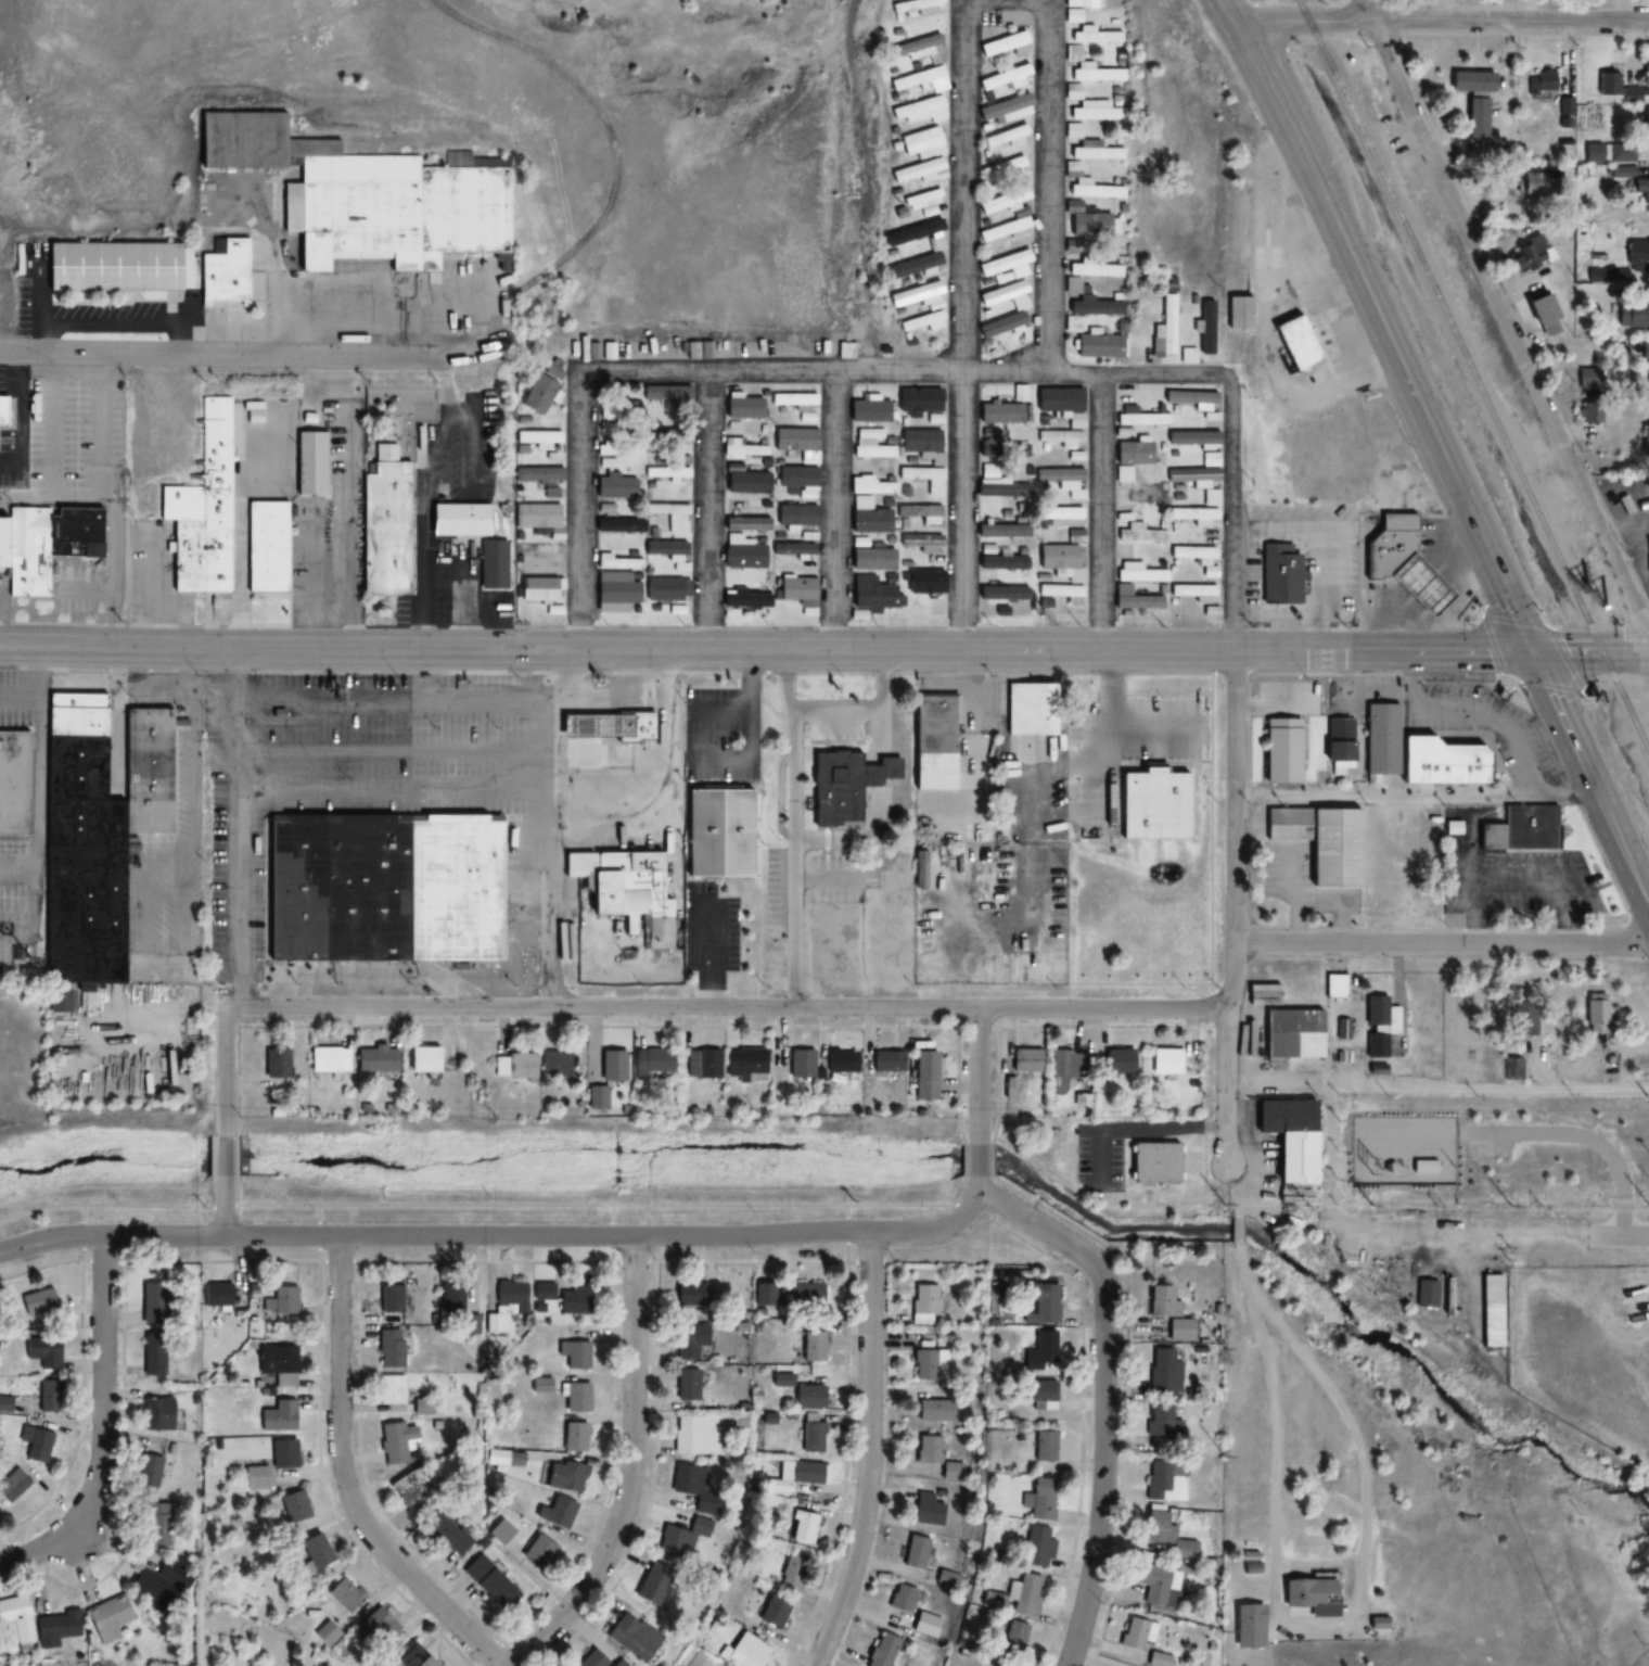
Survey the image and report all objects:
road: (1295, 2)
building: (915, 8)
building: (1077, 9)
road: (1443, 21)
road: (1269, 27)
building: (1090, 35)
building: (1002, 43)
building: (919, 49)
building: (1004, 77)
building: (919, 79)
building: (1542, 82)
building: (1622, 88)
building: (1473, 100)
building: (920, 110)
building: (1007, 110)
building: (1645, 126)
building: (1072, 129)
building: (1005, 137)
building: (921, 142)
building: (1609, 152)
building: (1002, 167)
building: (920, 171)
building: (1538, 183)
road: (1047, 186)
building: (1641, 190)
building: (368, 195)
building: (1005, 200)
building: (920, 203)
building: (1086, 221)
building: (1006, 229)
building: (912, 232)
building: (935, 244)
building: (1534, 251)
building: (1637, 258)
building: (1005, 264)
building: (913, 266)
building: (151, 268)
building: (1607, 275)
building: (913, 294)
building: (1005, 296)
building: (1092, 305)
building: (1238, 313)
building: (1541, 313)
road: (1504, 315)
building: (1632, 317)
building: (921, 321)
road: (964, 322)
building: (1000, 325)
road: (1381, 325)
road: (1405, 327)
building: (1206, 328)
building: (1165, 329)
building: (1294, 344)
building: (1098, 346)
building: (845, 351)
building: (1645, 354)
road: (247, 356)
building: (1187, 356)
railway: (1475, 376)
road: (907, 377)
building: (1588, 378)
building: (665, 392)
building: (537, 394)
building: (1190, 398)
building: (918, 400)
building: (1059, 402)
building: (793, 403)
building: (1001, 407)
building: (743, 408)
building: (868, 411)
building: (1, 412)
building: (1592, 412)
building: (1135, 415)
building: (613, 425)
building: (537, 438)
building: (670, 438)
building: (1060, 438)
building: (1191, 438)
building: (920, 442)
building: (1645, 442)
building: (797, 443)
building: (997, 446)
building: (742, 448)
building: (870, 450)
building: (1130, 458)
building: (1210, 459)
building: (605, 462)
building: (1601, 462)
building: (314, 465)
building: (682, 468)
building: (652, 471)
building: (537, 473)
building: (796, 476)
building: (924, 479)
building: (1060, 479)
building: (1198, 482)
building: (746, 483)
building: (614, 487)
building: (999, 488)
building: (550, 493)
building: (1146, 496)
building: (869, 507)
road: (580, 510)
building: (1020, 510)
road: (708, 511)
road: (830, 512)
building: (921, 513)
road: (1098, 513)
building: (205, 514)
building: (670, 514)
building: (795, 514)
building: (537, 516)
building: (1194, 516)
building: (746, 517)
building: (1059, 517)
building: (458, 520)
building: (616, 521)
building: (387, 524)
building: (1001, 531)
building: (1141, 535)
building: (1075, 536)
building: (43, 543)
building: (920, 544)
building: (270, 547)
building: (537, 549)
building: (794, 551)
building: (1192, 551)
building: (669, 554)
building: (742, 555)
building: (872, 559)
building: (1396, 560)
building: (617, 561)
building: (1004, 562)
building: (1060, 562)
building: (490, 564)
building: (1137, 573)
building: (1210, 574)
building: (1279, 574)
building: (924, 582)
building: (536, 587)
building: (666, 588)
building: (796, 590)
building: (1065, 592)
building: (615, 593)
building: (1193, 593)
building: (1634, 594)
building: (871, 595)
building: (998, 596)
building: (747, 597)
building: (1135, 601)
road: (1513, 619)
road: (1089, 627)
road: (1493, 643)
road: (519, 647)
road: (824, 647)
traffic signals: (1536, 653)
road: (830, 671)
road: (1383, 672)
road: (1581, 687)
building: (1073, 697)
road: (1475, 703)
building: (1027, 708)
building: (588, 727)
gas station: (588, 727)
building: (636, 727)
building: (935, 734)
building: (1380, 740)
building: (1280, 751)
building: (1448, 760)
building: (878, 773)
road: (1236, 773)
road: (1589, 775)
building: (15, 784)
building: (835, 789)
road: (1415, 793)
building: (103, 824)
building: (1520, 829)
building: (719, 834)
building: (1321, 842)
building: (920, 874)
building: (385, 888)
building: (624, 891)
road: (1443, 941)
building: (1334, 985)
road: (728, 1006)
building: (1376, 1010)
building: (1596, 1014)
building: (1519, 1018)
building: (1292, 1033)
building: (1376, 1044)
building: (324, 1058)
building: (420, 1058)
building: (374, 1059)
building: (1024, 1059)
building: (274, 1060)
building: (841, 1060)
building: (1164, 1060)
building: (649, 1061)
building: (701, 1061)
building: (743, 1061)
building: (886, 1061)
building: (1117, 1061)
building: (553, 1063)
building: (800, 1063)
building: (1513, 1064)
building: (519, 1065)
building: (611, 1065)
building: (1065, 1068)
road: (226, 1069)
building: (923, 1073)
road: (979, 1073)
road: (1437, 1090)
building: (1463, 1114)
building: (1288, 1135)
building: (1373, 1136)
road: (225, 1156)
road: (979, 1159)
building: (1151, 1161)
road: (979, 1190)
road: (1236, 1191)
road: (225, 1207)
road: (1239, 1232)
road: (561, 1236)
road: (1248, 1280)
building: (541, 1290)
building: (1426, 1293)
building: (798, 1294)
building: (689, 1295)
building: (215, 1296)
building: (1446, 1296)
building: (389, 1297)
building: (455, 1297)
building: (573, 1298)
building: (283, 1300)
building: (37, 1301)
building: (151, 1302)
building: (1038, 1302)
building: (923, 1303)
building: (507, 1305)
building: (1491, 1310)
building: (1167, 1312)
building: (0, 1323)
building: (811, 1345)
building: (687, 1346)
building: (1043, 1346)
building: (388, 1347)
building: (42, 1353)
building: (152, 1353)
building: (573, 1353)
building: (278, 1364)
building: (930, 1364)
building: (1163, 1371)
building: (686, 1384)
building: (389, 1389)
building: (1039, 1395)
building: (49, 1396)
building: (575, 1396)
building: (808, 1396)
building: (421, 1407)
building: (937, 1410)
building: (156, 1413)
building: (277, 1415)
building: (1161, 1421)
road: (103, 1429)
building: (696, 1435)
building: (573, 1436)
building: (811, 1436)
building: (396, 1441)
building: (35, 1445)
building: (1043, 1446)
building: (283, 1453)
road: (870, 1453)
building: (936, 1457)
building: (504, 1458)
road: (1101, 1465)
building: (149, 1471)
road: (632, 1471)
road: (1276, 1471)
building: (564, 1475)
building: (255, 1477)
building: (794, 1477)
building: (688, 1479)
building: (1164, 1479)
road: (346, 1480)
building: (416, 1483)
building: (12, 1484)
road: (1366, 1491)
building: (1039, 1498)
building: (293, 1505)
building: (926, 1510)
building: (557, 1512)
building: (155, 1524)
building: (800, 1527)
building: (500, 1531)
building: (445, 1535)
building: (1163, 1536)
building: (682, 1539)
building: (1036, 1544)
building: (312, 1551)
building: (538, 1551)
building: (915, 1552)
building: (792, 1572)
building: (948, 1578)
building: (488, 1582)
building: (654, 1582)
building: (162, 1584)
building: (1158, 1585)
building: (345, 1594)
building: (1025, 1594)
building: (1311, 1594)
building: (990, 1601)
building: (897, 1607)
building: (772, 1611)
building: (16, 1618)
building: (108, 1619)
building: (1248, 1626)
building: (376, 1628)
building: (60, 1630)
building: (1136, 1633)
building: (632, 1637)
building: (1012, 1643)
building: (882, 1650)
building: (744, 1651)
building: (411, 1657)
building: (1160, 1658)
building: (592, 1659)
building: (618, 1663)

